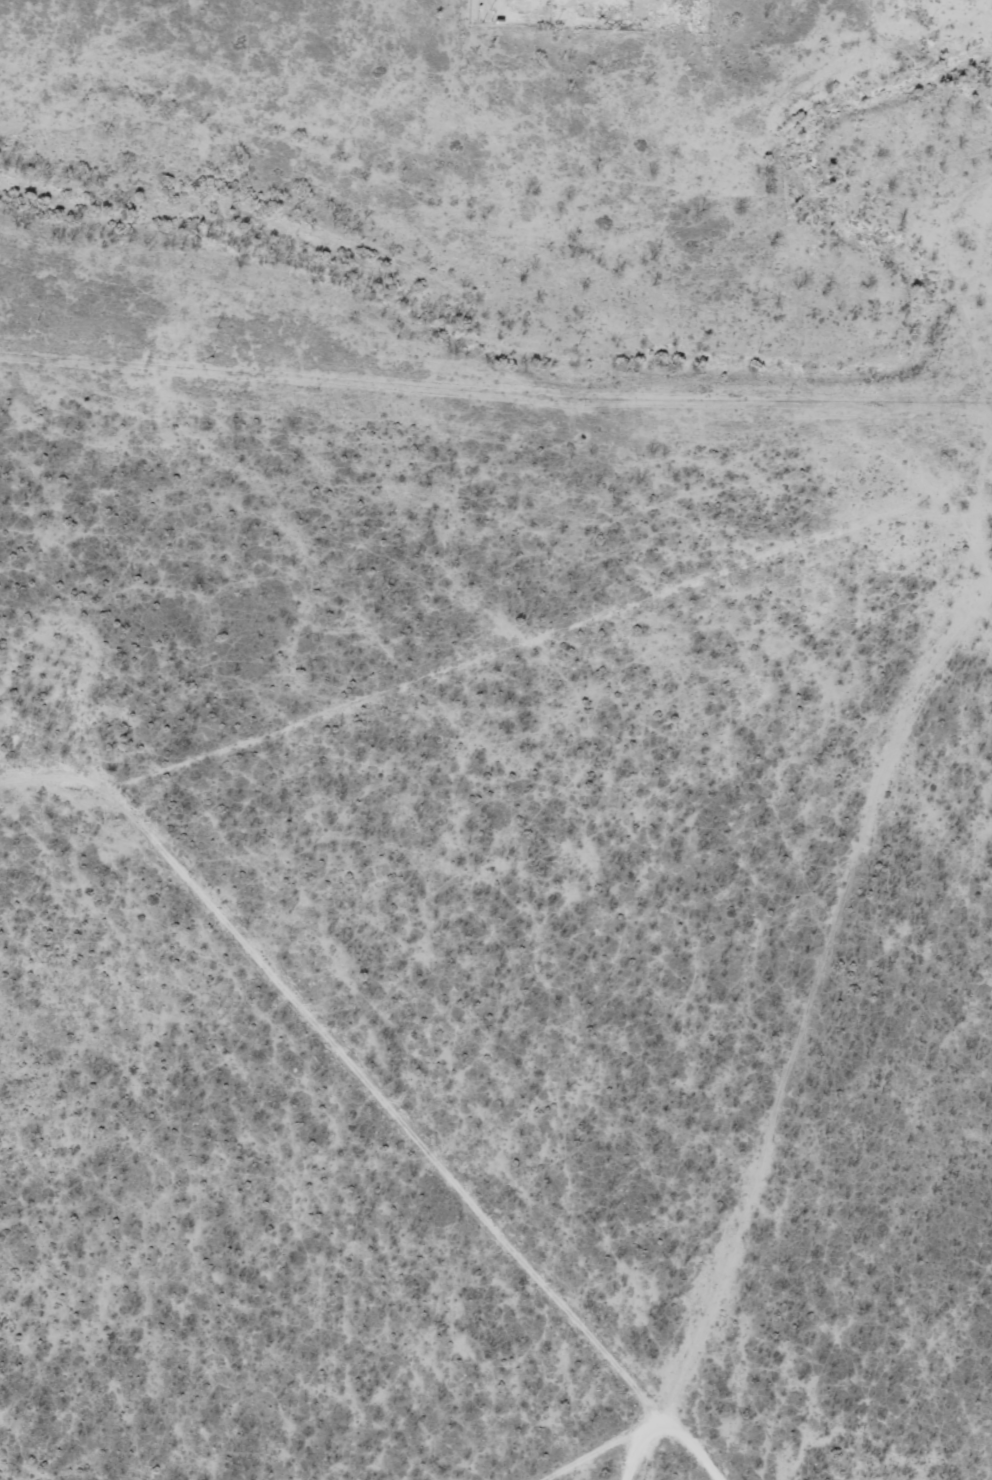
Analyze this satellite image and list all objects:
road: (817, 950)

